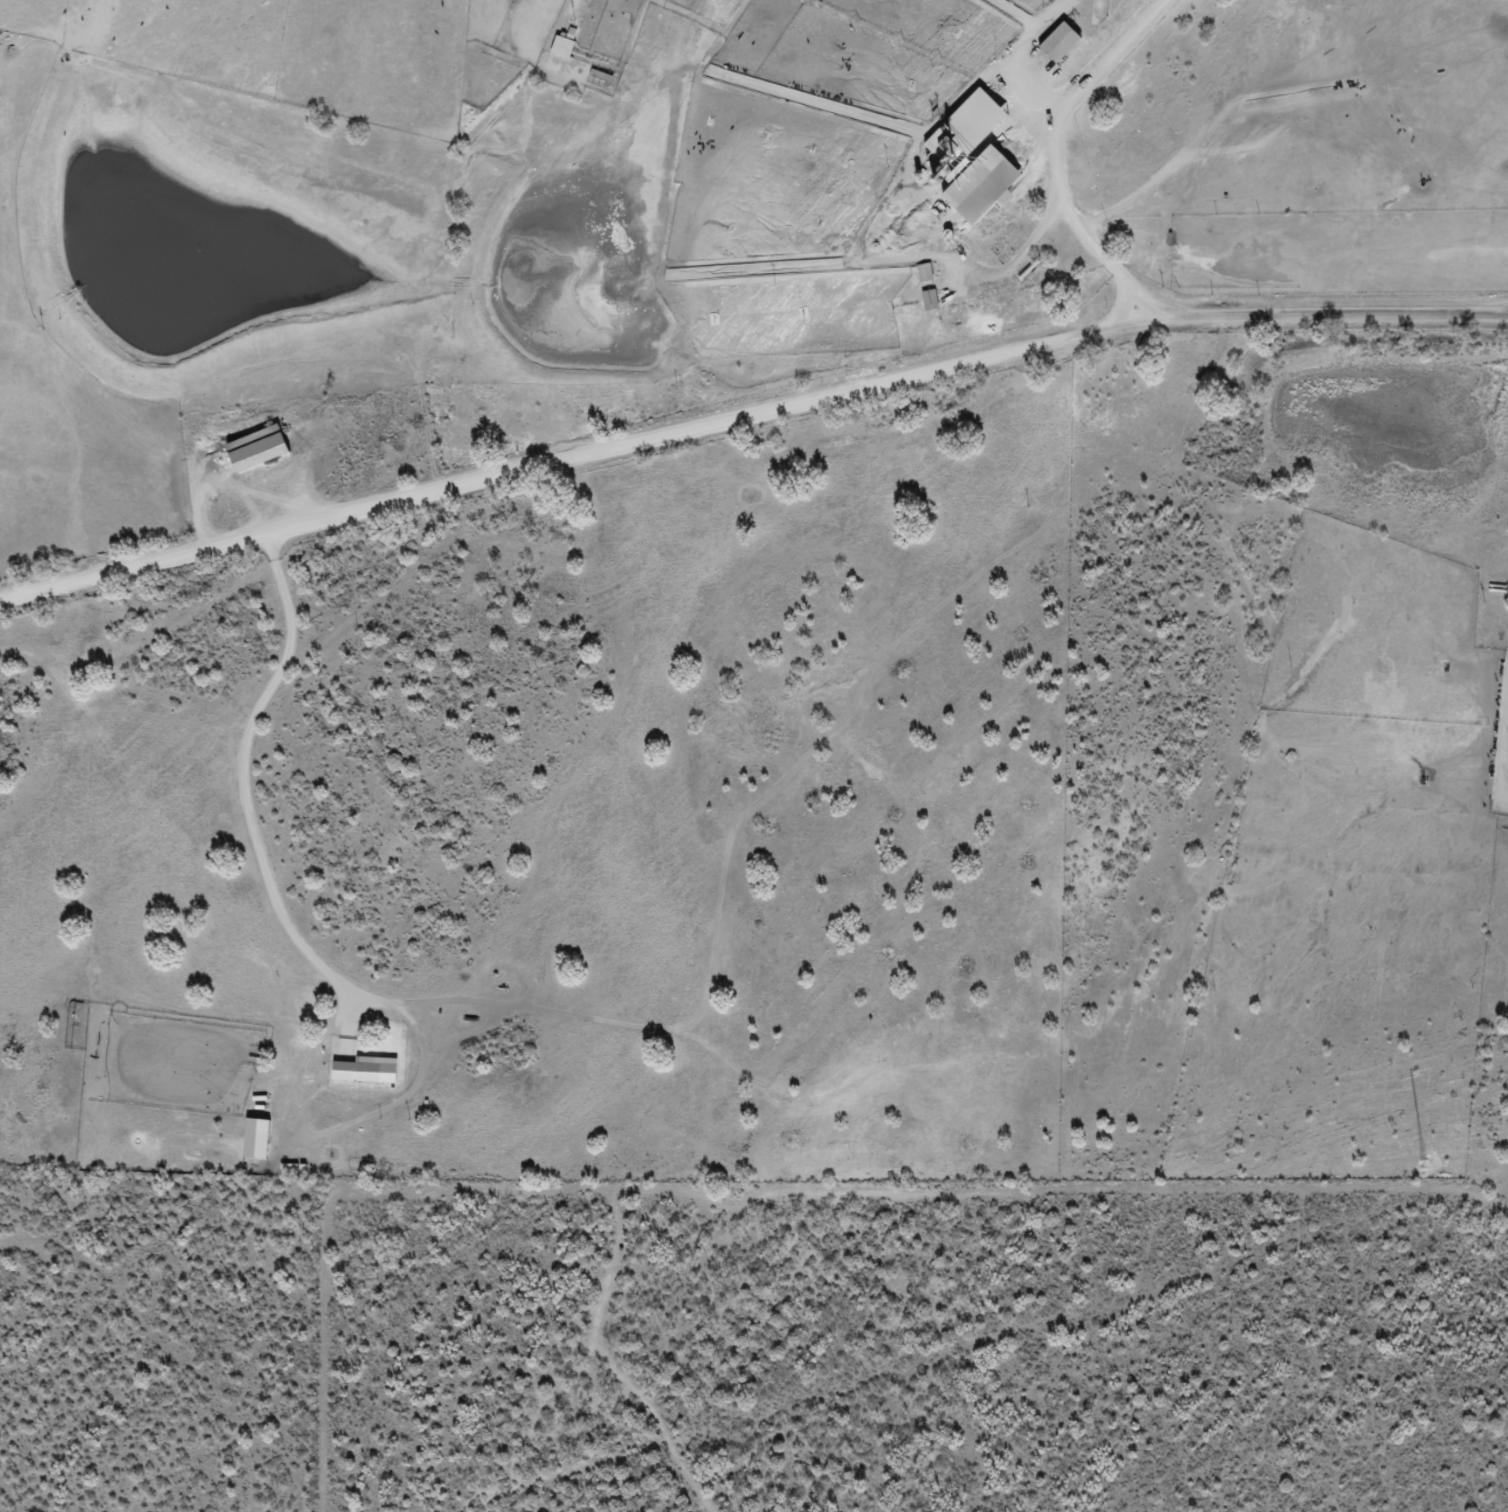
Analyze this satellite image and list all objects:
building: (1054, 42)
building: (568, 46)
building: (973, 184)
road: (748, 415)
building: (263, 448)
building: (362, 1070)

